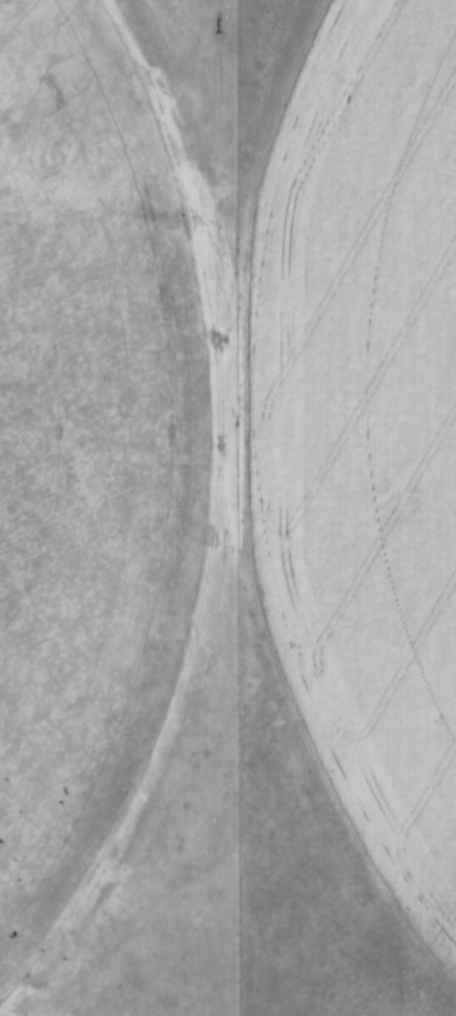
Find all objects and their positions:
crop: (229, 446)

